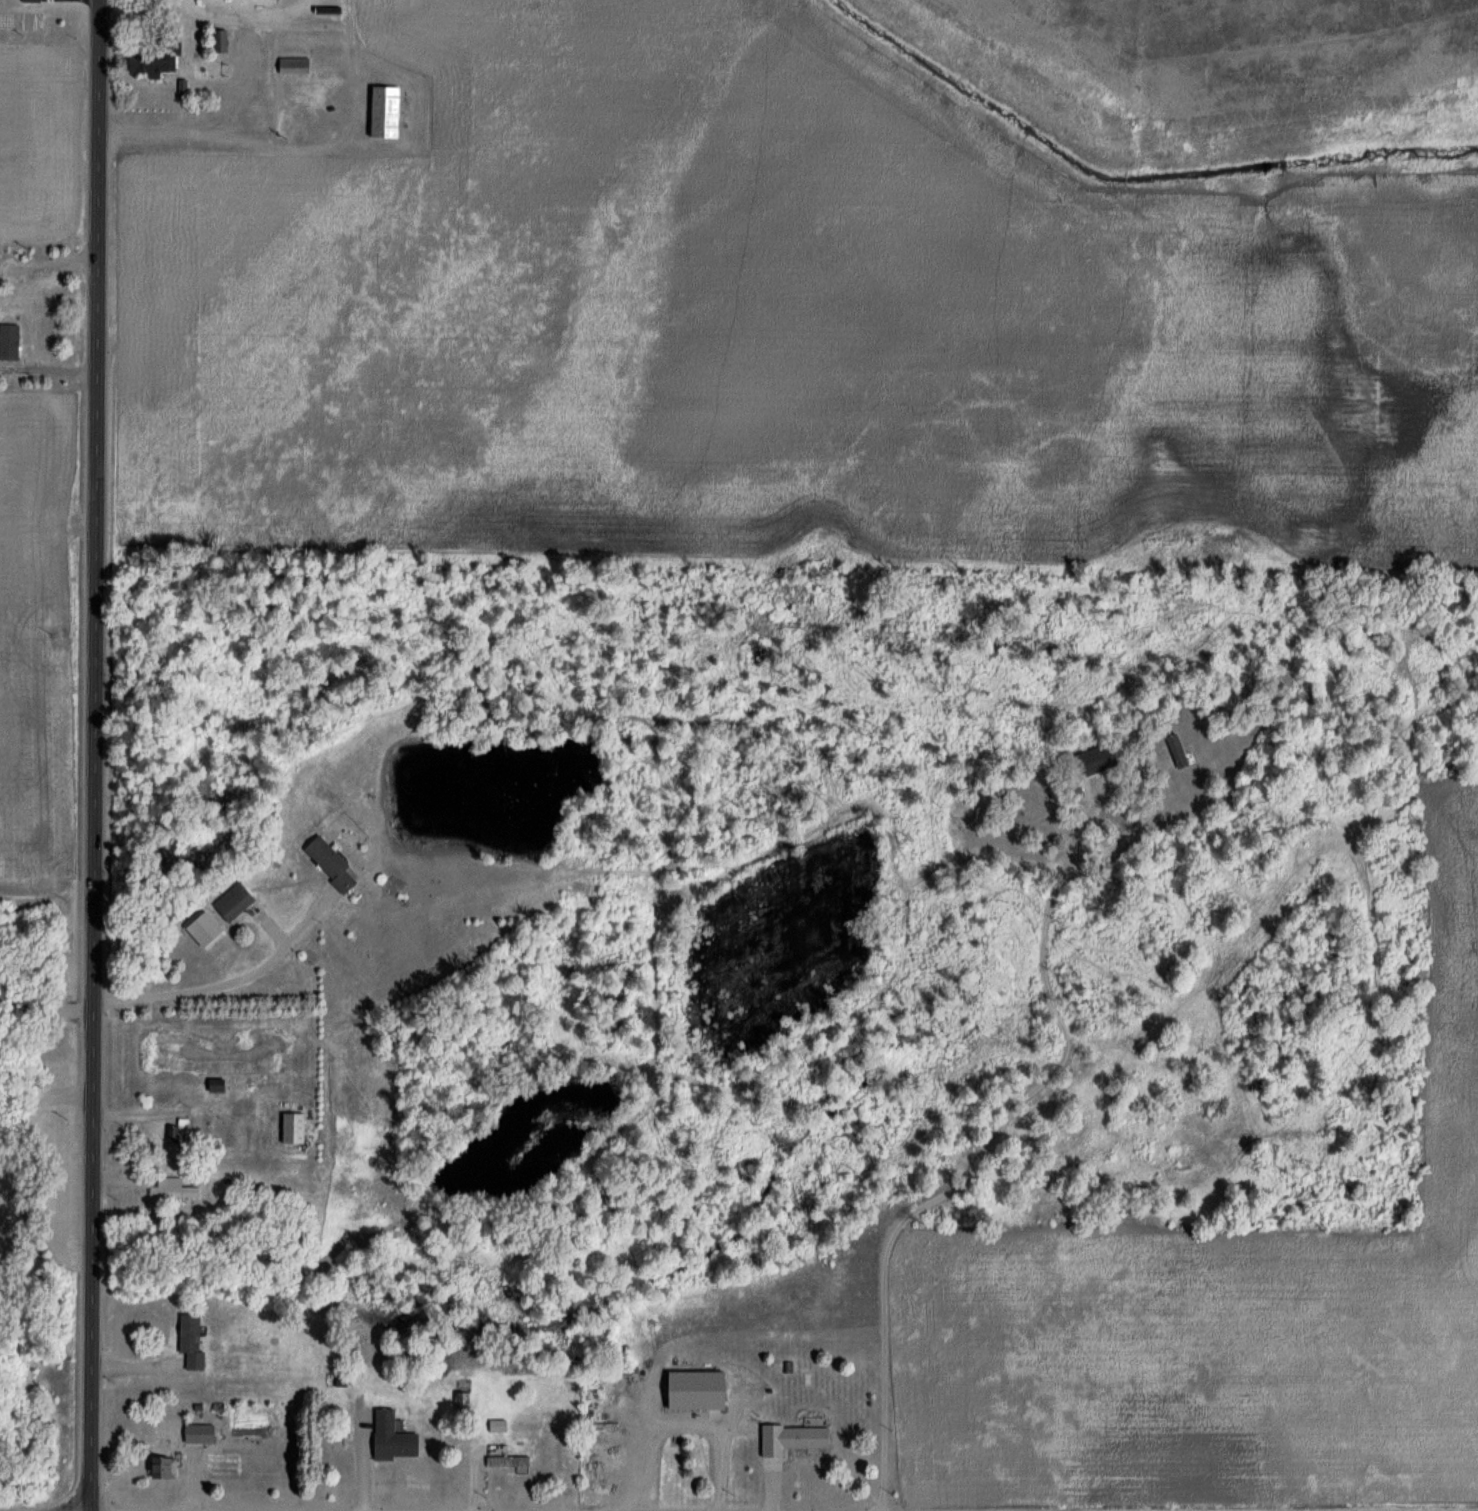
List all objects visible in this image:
building: (29, 1)
building: (222, 1)
road: (233, 8)
building: (216, 43)
building: (146, 53)
building: (300, 66)
building: (381, 112)
building: (289, 115)
building: (324, 119)
building: (0, 284)
building: (15, 340)
road: (48, 462)
building: (1172, 750)
road: (95, 755)
building: (1088, 760)
building: (337, 864)
building: (237, 900)
road: (1030, 958)
road: (229, 983)
road: (46, 1099)
building: (300, 1127)
building: (185, 1130)
building: (178, 1188)
road: (47, 1268)
building: (196, 1340)
road: (875, 1368)
building: (690, 1390)
building: (459, 1402)
road: (668, 1421)
building: (495, 1426)
building: (205, 1432)
building: (388, 1437)
building: (786, 1438)
building: (502, 1457)
building: (166, 1468)

